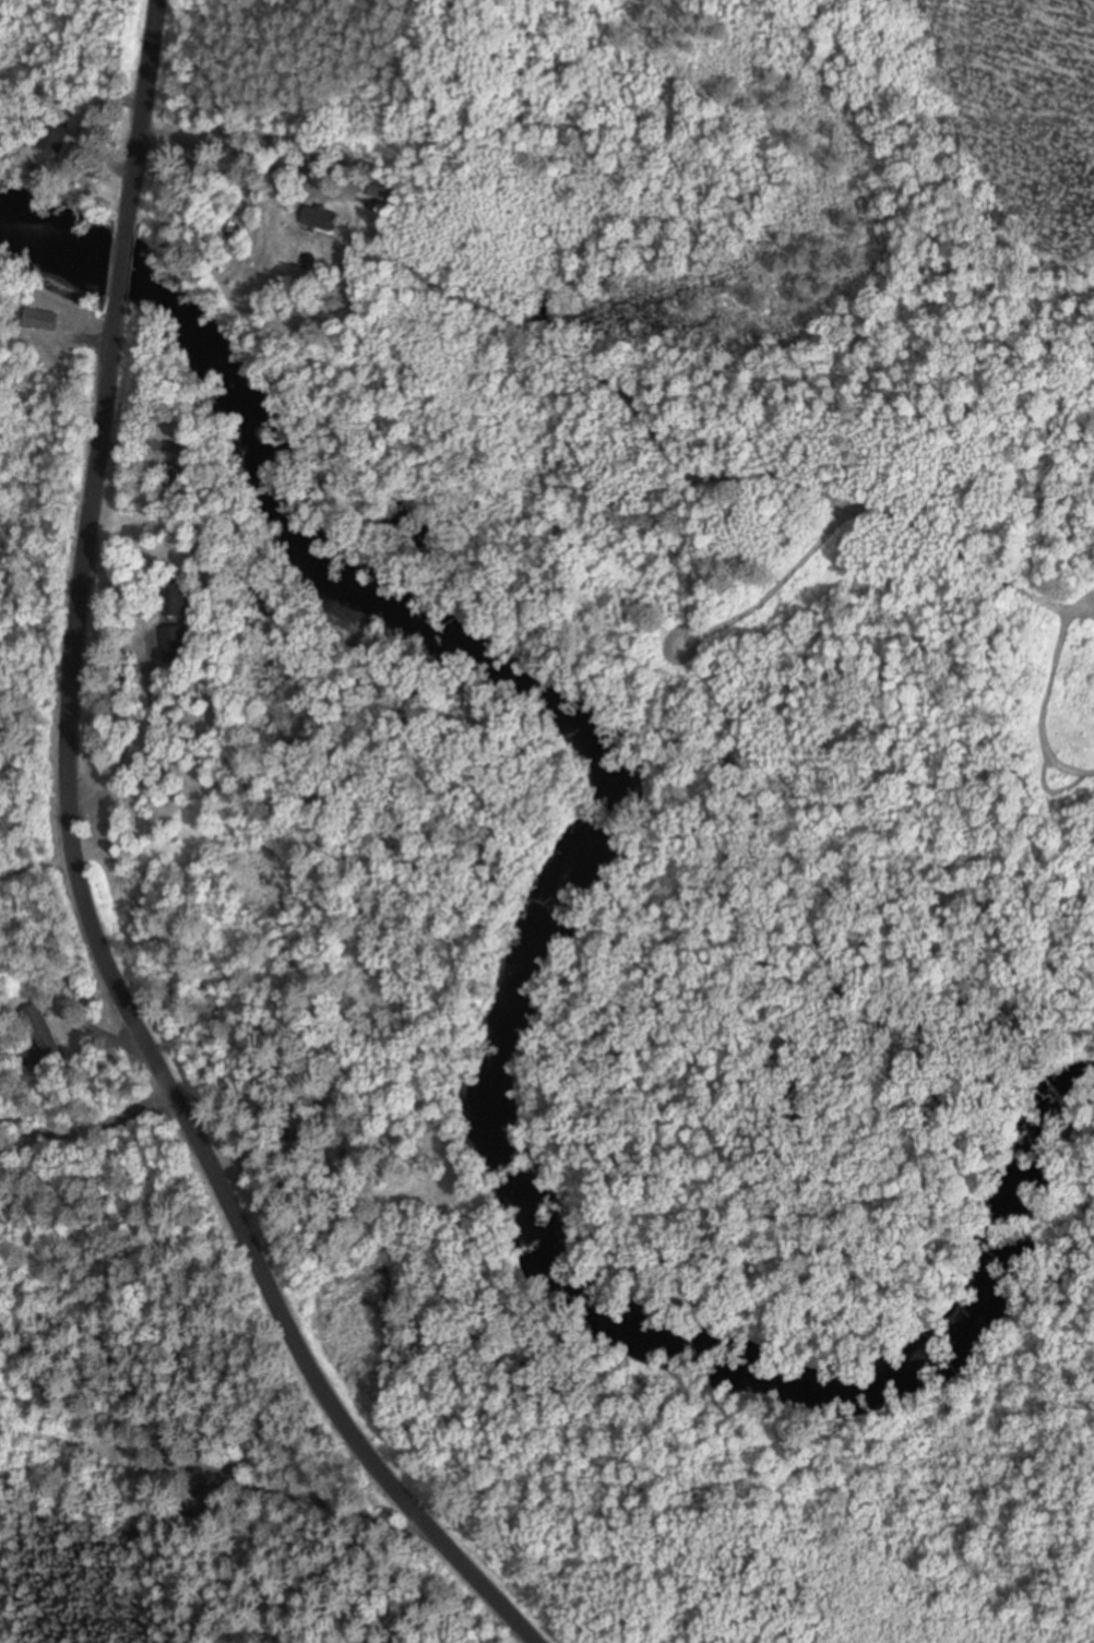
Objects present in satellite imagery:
building: (53, 140)
building: (378, 191)
building: (319, 221)
building: (41, 322)
building: (175, 454)
building: (168, 475)
building: (178, 602)
building: (176, 646)
road: (76, 884)
river: (568, 945)
building: (41, 1038)
building: (201, 1508)

